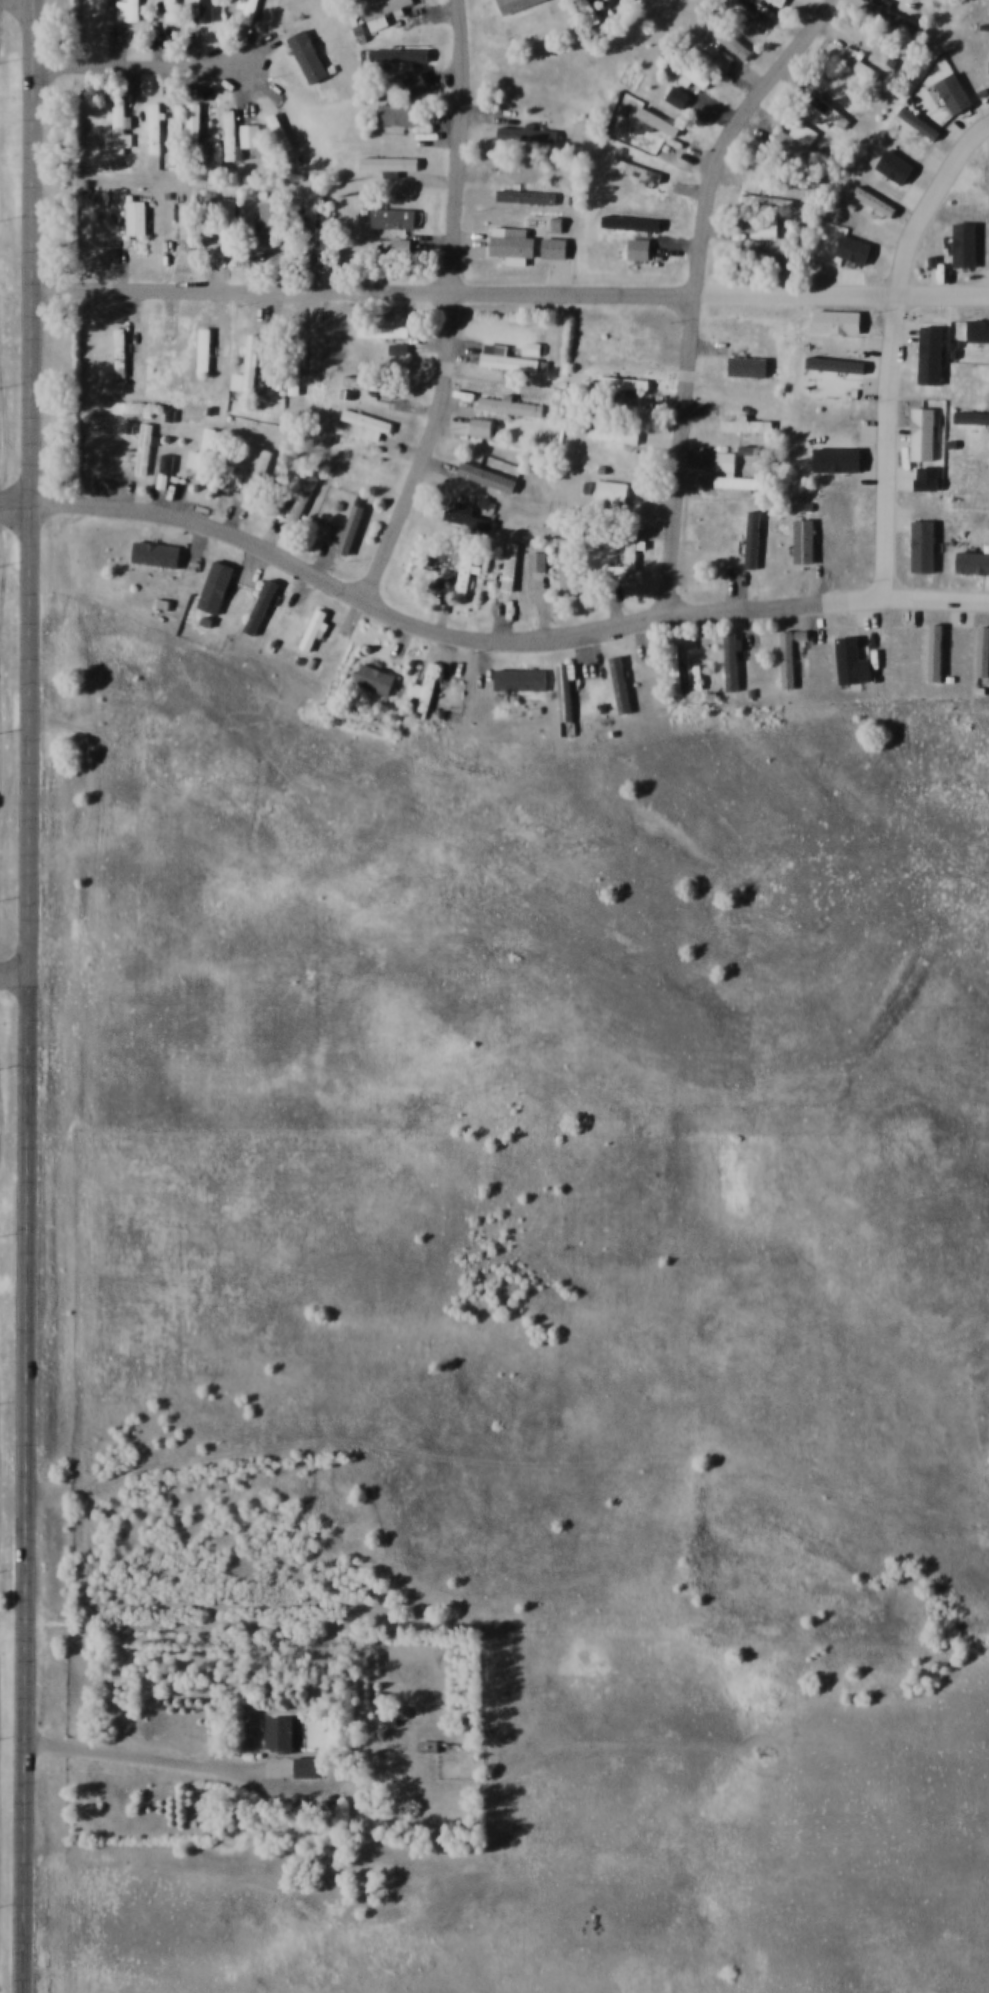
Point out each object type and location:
building: (780, 2)
building: (516, 4)
building: (129, 10)
building: (171, 10)
building: (205, 10)
building: (249, 10)
building: (384, 11)
building: (588, 12)
building: (896, 18)
building: (727, 37)
building: (402, 54)
building: (309, 55)
building: (859, 63)
road: (132, 65)
building: (688, 70)
building: (830, 110)
building: (399, 114)
building: (192, 120)
building: (659, 120)
building: (154, 128)
building: (120, 129)
building: (280, 131)
building: (231, 134)
building: (529, 134)
building: (251, 135)
building: (798, 143)
building: (390, 162)
building: (639, 170)
building: (527, 196)
building: (767, 200)
building: (138, 217)
building: (396, 217)
building: (229, 222)
building: (632, 222)
building: (325, 225)
building: (272, 226)
building: (185, 228)
building: (513, 242)
building: (402, 245)
building: (556, 248)
building: (640, 248)
road: (34, 251)
building: (763, 251)
road: (700, 287)
road: (366, 288)
road: (844, 288)
road: (454, 307)
building: (381, 330)
road: (879, 334)
building: (630, 342)
building: (396, 349)
building: (534, 349)
building: (160, 350)
building: (206, 351)
building: (121, 352)
building: (510, 359)
building: (252, 361)
building: (749, 365)
building: (296, 366)
building: (626, 382)
building: (370, 383)
building: (512, 406)
building: (369, 424)
building: (747, 425)
building: (484, 427)
building: (615, 434)
building: (144, 449)
building: (207, 453)
building: (733, 474)
building: (613, 490)
building: (649, 490)
building: (302, 500)
road: (16, 503)
building: (468, 517)
building: (353, 529)
building: (754, 539)
building: (806, 541)
building: (158, 554)
building: (630, 557)
building: (539, 561)
building: (512, 565)
building: (568, 566)
building: (468, 584)
building: (217, 586)
road: (903, 592)
building: (262, 606)
road: (416, 619)
building: (315, 630)
building: (790, 656)
building: (732, 661)
building: (676, 669)
building: (377, 679)
building: (521, 679)
building: (431, 680)
building: (620, 684)
building: (566, 691)
road: (15, 975)
road: (29, 1248)
building: (281, 1732)
building: (430, 1746)
road: (146, 1761)
building: (308, 1767)

